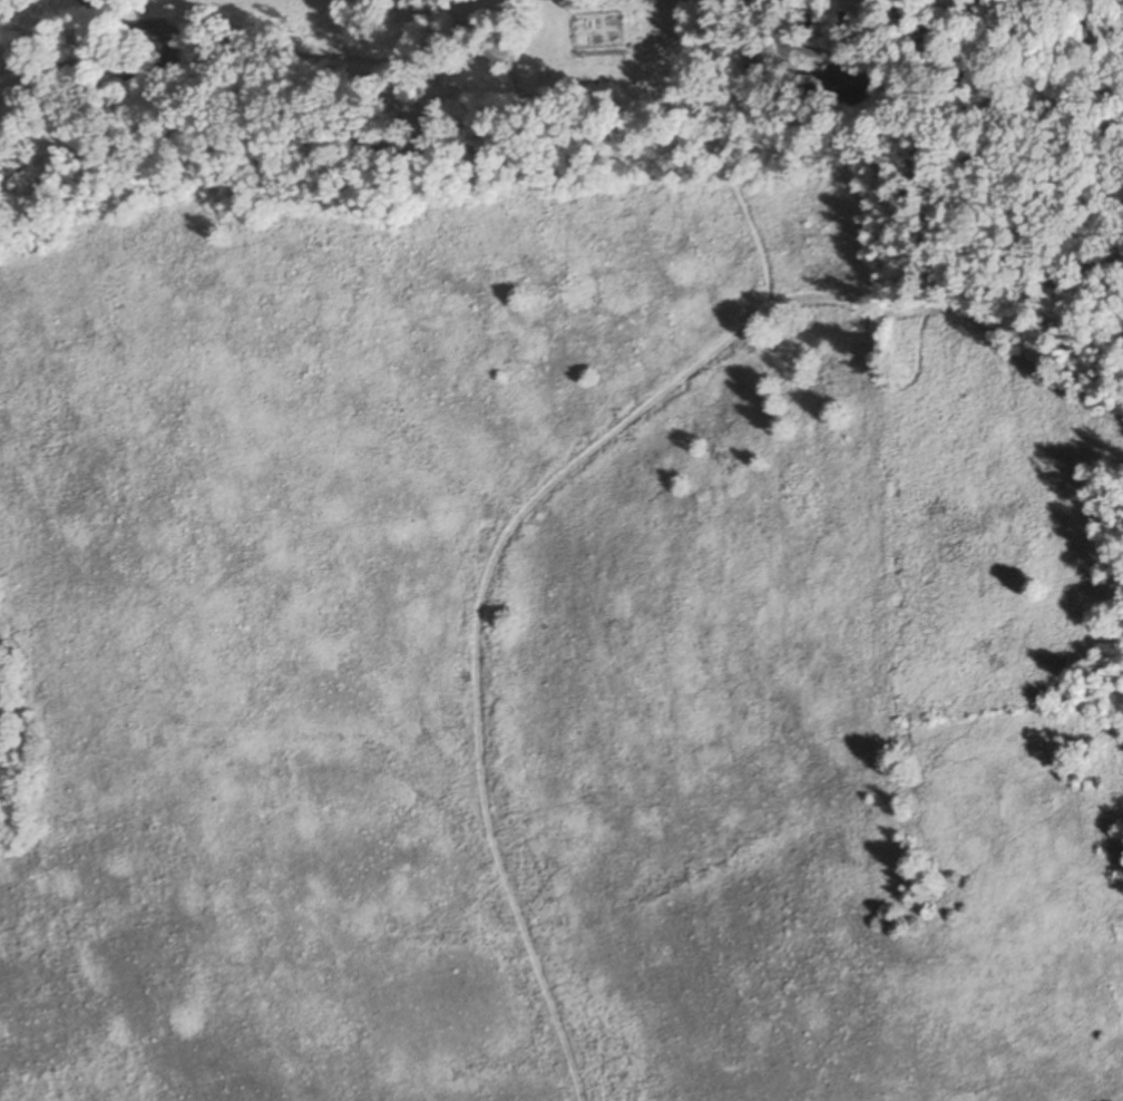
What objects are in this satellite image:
road: (148, 77)

